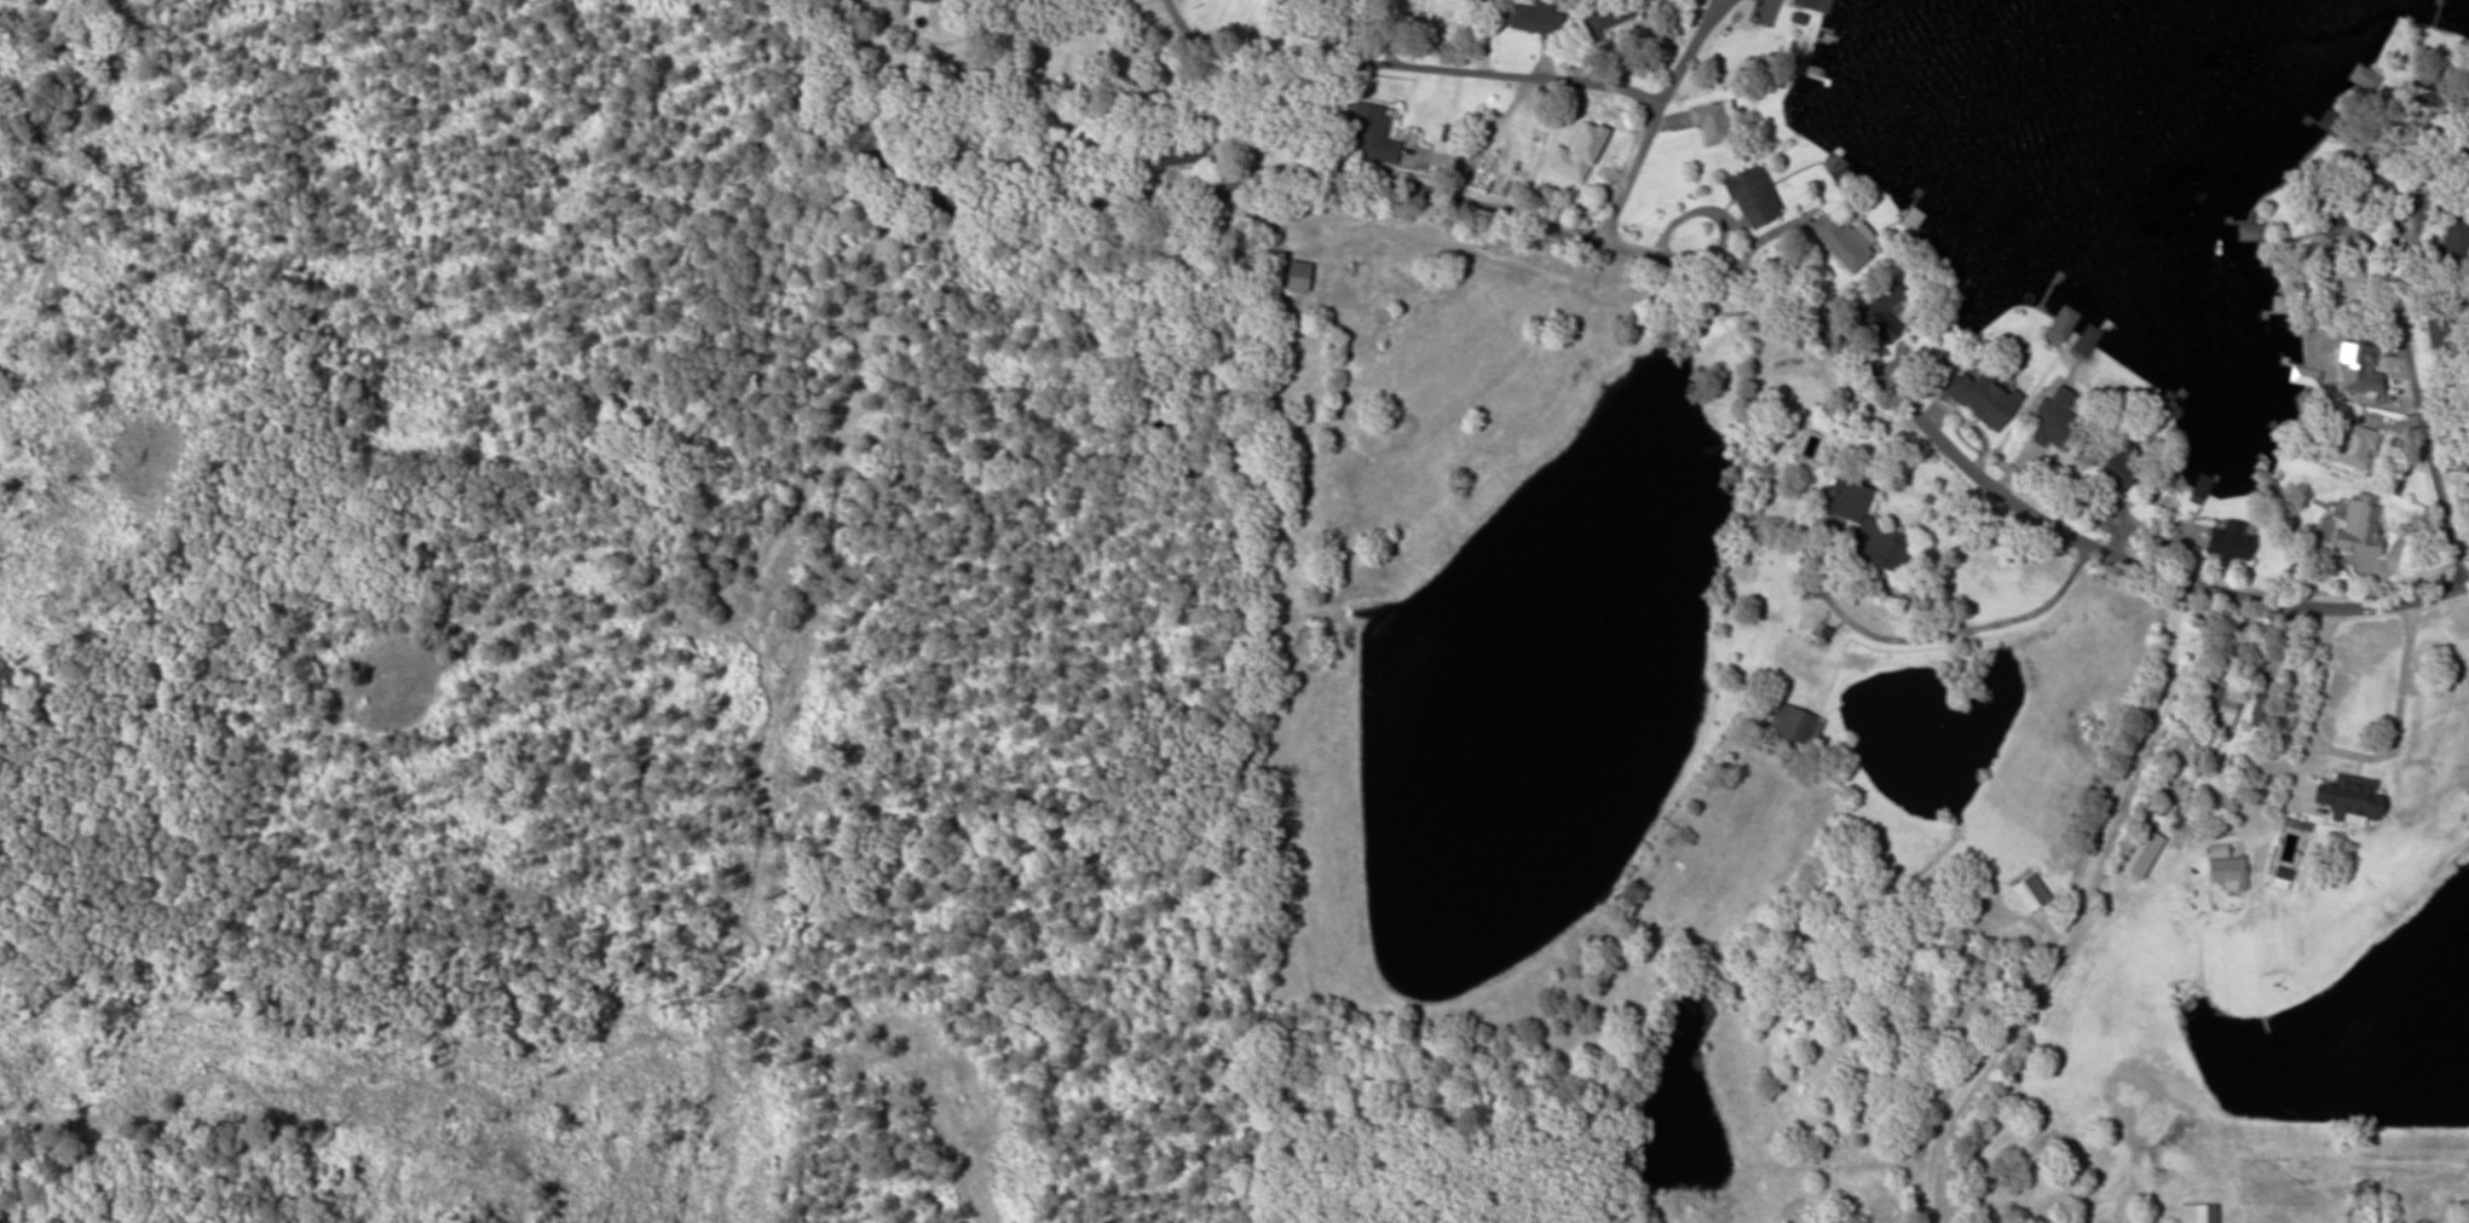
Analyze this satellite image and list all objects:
building: (929, 0)
building: (1668, 0)
building: (1817, 5)
building: (1604, 12)
building: (1539, 17)
road: (1400, 67)
building: (2369, 80)
building: (2434, 93)
road: (1655, 111)
building: (1712, 122)
building: (1371, 132)
building: (1184, 145)
building: (2373, 175)
building: (1754, 198)
building: (1914, 219)
building: (2341, 229)
building: (2250, 232)
building: (2454, 242)
building: (1845, 243)
road: (1629, 248)
building: (1299, 277)
building: (2343, 284)
building: (1885, 315)
building: (2084, 342)
road: (2415, 371)
building: (1983, 397)
building: (2171, 403)
building: (2059, 417)
road: (840, 448)
building: (2118, 472)
building: (2200, 488)
building: (2361, 526)
building: (1867, 527)
building: (2231, 542)
building: (2219, 708)
building: (2260, 710)
building: (1795, 725)
building: (2352, 796)
building: (2226, 866)
building: (2281, 878)
building: (2030, 893)
road: (2070, 915)
road: (628, 958)
building: (2199, 1212)

